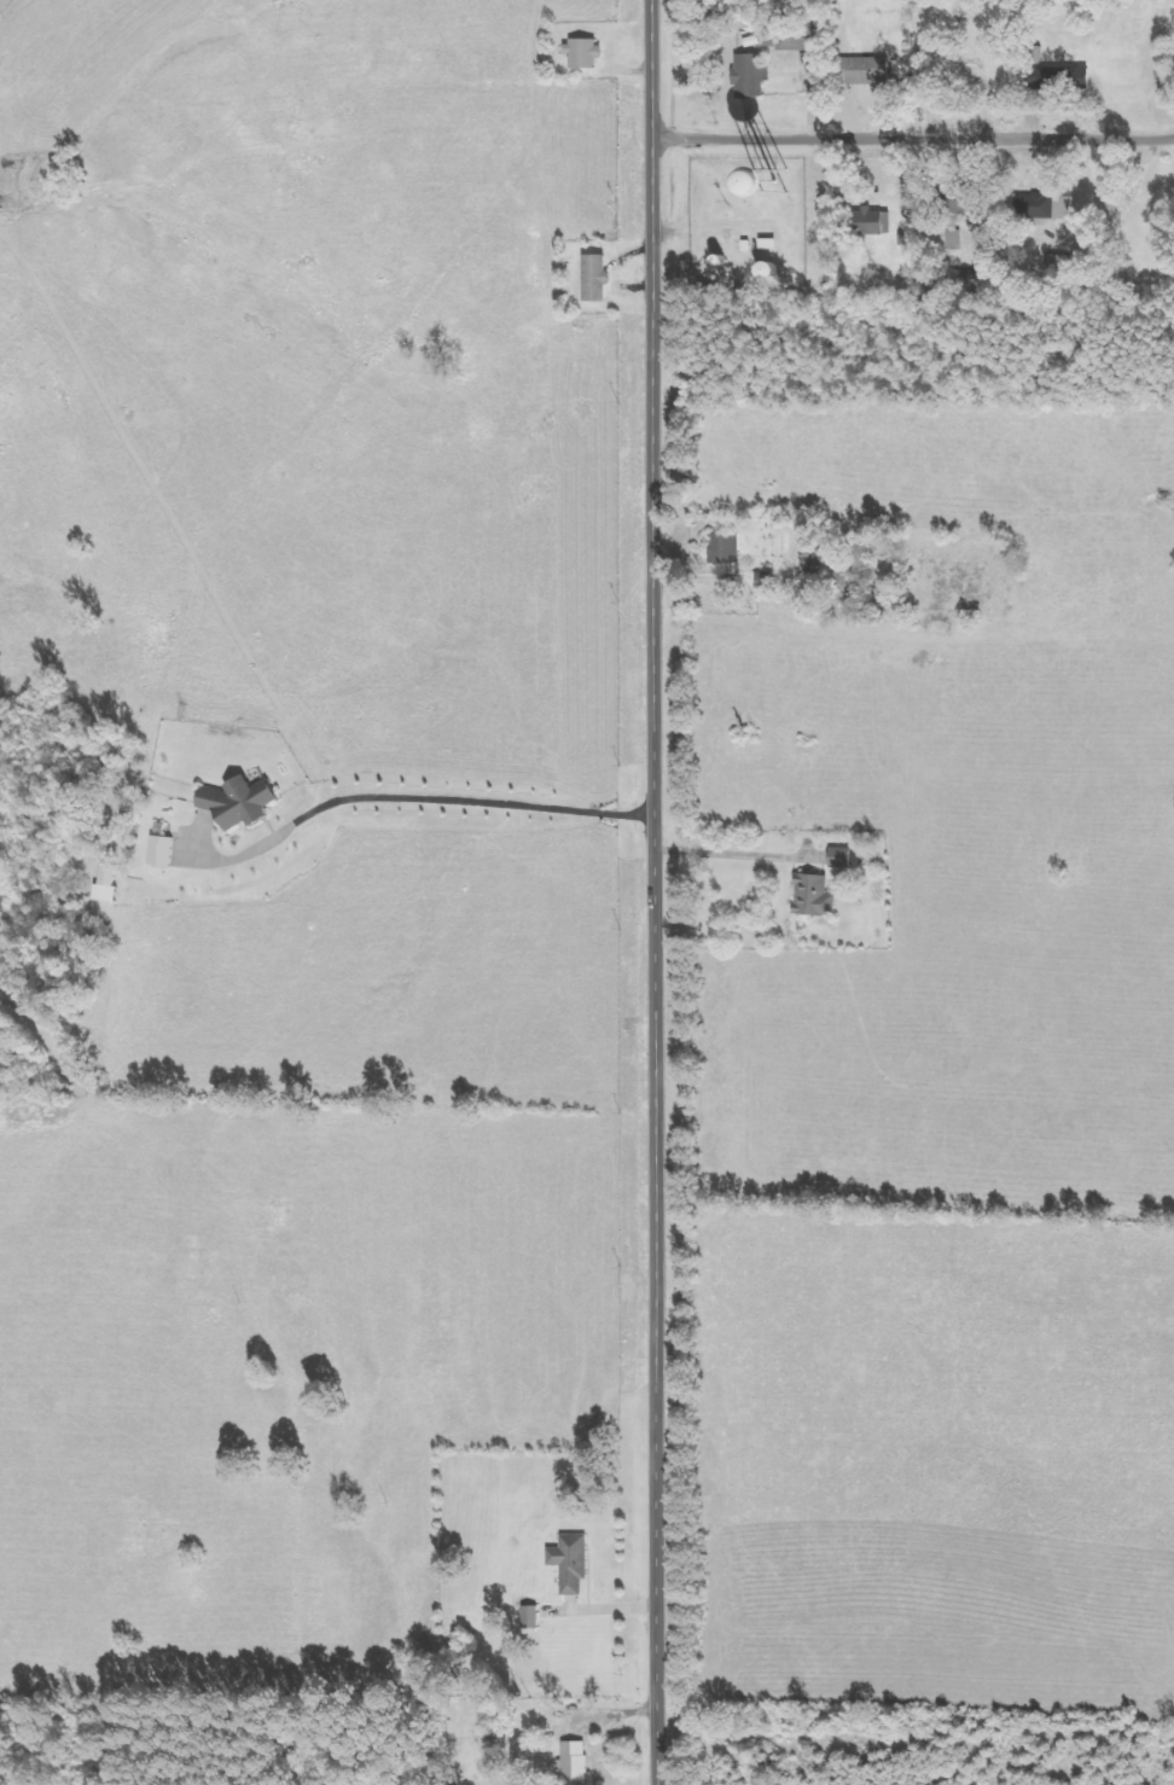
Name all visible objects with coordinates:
building: (798, 41)
building: (589, 53)
building: (877, 70)
building: (755, 77)
building: (1060, 79)
road: (913, 139)
building: (826, 194)
building: (1046, 207)
building: (871, 222)
building: (957, 237)
building: (603, 279)
building: (725, 548)
building: (248, 801)
building: (168, 850)
building: (845, 857)
building: (114, 883)
road: (652, 891)
building: (819, 895)
building: (576, 1562)
building: (580, 1762)

